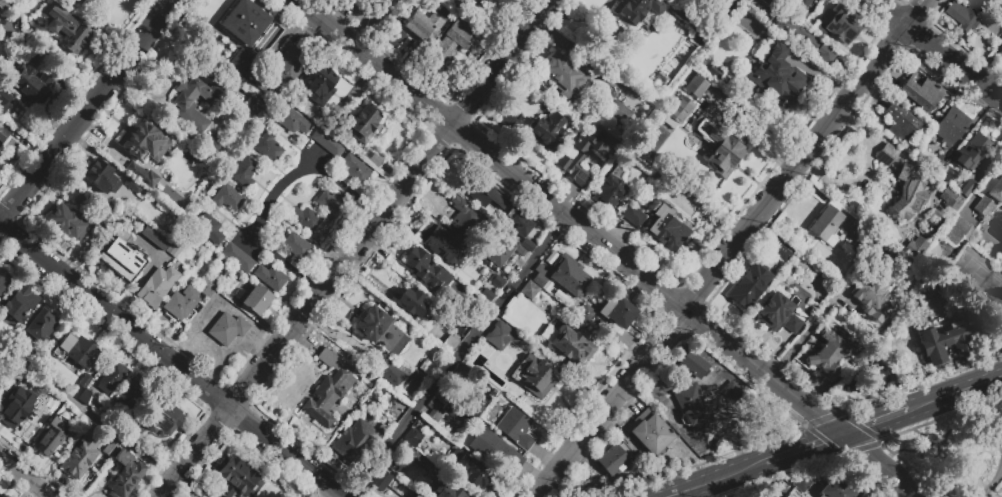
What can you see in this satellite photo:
building: (0, 0)
building: (99, 0)
building: (504, 0)
building: (995, 0)
building: (358, 1)
building: (767, 2)
building: (473, 5)
building: (800, 5)
building: (0, 6)
building: (634, 10)
building: (1, 11)
building: (968, 13)
building: (244, 22)
building: (840, 25)
building: (65, 26)
building: (788, 28)
building: (703, 35)
building: (742, 35)
building: (458, 41)
building: (1000, 51)
building: (823, 52)
road: (936, 52)
building: (240, 61)
building: (291, 64)
building: (714, 71)
building: (564, 75)
building: (777, 77)
building: (319, 84)
building: (32, 85)
building: (696, 85)
building: (921, 90)
building: (3, 97)
building: (253, 103)
building: (185, 106)
building: (680, 109)
road: (87, 111)
building: (618, 111)
building: (765, 115)
building: (505, 117)
building: (364, 120)
building: (293, 121)
building: (898, 122)
building: (951, 125)
building: (550, 130)
building: (2, 133)
building: (622, 137)
building: (327, 140)
building: (143, 141)
building: (717, 141)
building: (268, 145)
building: (972, 152)
building: (887, 154)
building: (579, 155)
road: (317, 160)
building: (652, 164)
building: (937, 165)
building: (355, 169)
building: (244, 171)
road: (863, 172)
building: (948, 174)
building: (143, 175)
building: (101, 177)
building: (132, 185)
building: (968, 188)
building: (908, 190)
building: (609, 191)
road: (273, 195)
building: (989, 195)
building: (227, 197)
building: (488, 197)
building: (951, 199)
building: (331, 202)
building: (109, 204)
building: (633, 214)
building: (304, 218)
road: (568, 218)
building: (465, 219)
building: (67, 221)
building: (517, 222)
building: (826, 225)
building: (209, 228)
building: (665, 228)
building: (957, 229)
building: (154, 238)
road: (713, 242)
building: (440, 244)
building: (527, 244)
road: (730, 245)
building: (915, 246)
building: (296, 247)
road: (251, 248)
road: (356, 248)
road: (747, 250)
building: (503, 251)
building: (782, 252)
building: (865, 255)
building: (121, 256)
building: (237, 257)
building: (425, 269)
building: (472, 270)
building: (540, 275)
building: (270, 277)
building: (569, 277)
building: (813, 278)
building: (3, 281)
building: (497, 281)
building: (157, 285)
building: (750, 286)
building: (207, 287)
building: (529, 290)
building: (927, 292)
building: (872, 295)
building: (256, 299)
building: (412, 302)
building: (180, 303)
building: (19, 304)
building: (553, 310)
building: (775, 310)
building: (618, 312)
building: (584, 317)
building: (793, 324)
building: (41, 326)
building: (227, 328)
building: (379, 329)
road: (803, 333)
building: (502, 335)
building: (944, 341)
building: (450, 343)
building: (571, 345)
building: (78, 349)
building: (830, 354)
road: (457, 357)
road: (170, 362)
building: (695, 364)
building: (388, 368)
building: (416, 374)
building: (534, 375)
building: (113, 378)
building: (85, 381)
building: (870, 381)
building: (328, 389)
road: (958, 392)
building: (136, 393)
building: (84, 396)
building: (706, 402)
building: (16, 407)
building: (430, 408)
road: (86, 413)
building: (162, 417)
road: (889, 418)
building: (516, 427)
building: (650, 430)
road: (851, 431)
traffic signals: (840, 435)
building: (410, 437)
building: (51, 438)
road: (828, 439)
building: (356, 442)
building: (109, 448)
building: (679, 448)
building: (491, 449)
road: (787, 454)
building: (79, 457)
building: (614, 458)
road: (877, 466)
building: (471, 472)
building: (124, 474)
road: (26, 476)
road: (994, 477)
building: (237, 478)
building: (381, 480)
road: (712, 480)
building: (801, 483)
building: (840, 487)
road: (532, 489)
building: (447, 490)
road: (996, 490)
road: (518, 491)
road: (991, 492)
building: (414, 494)
building: (788, 495)
building: (2, 496)

